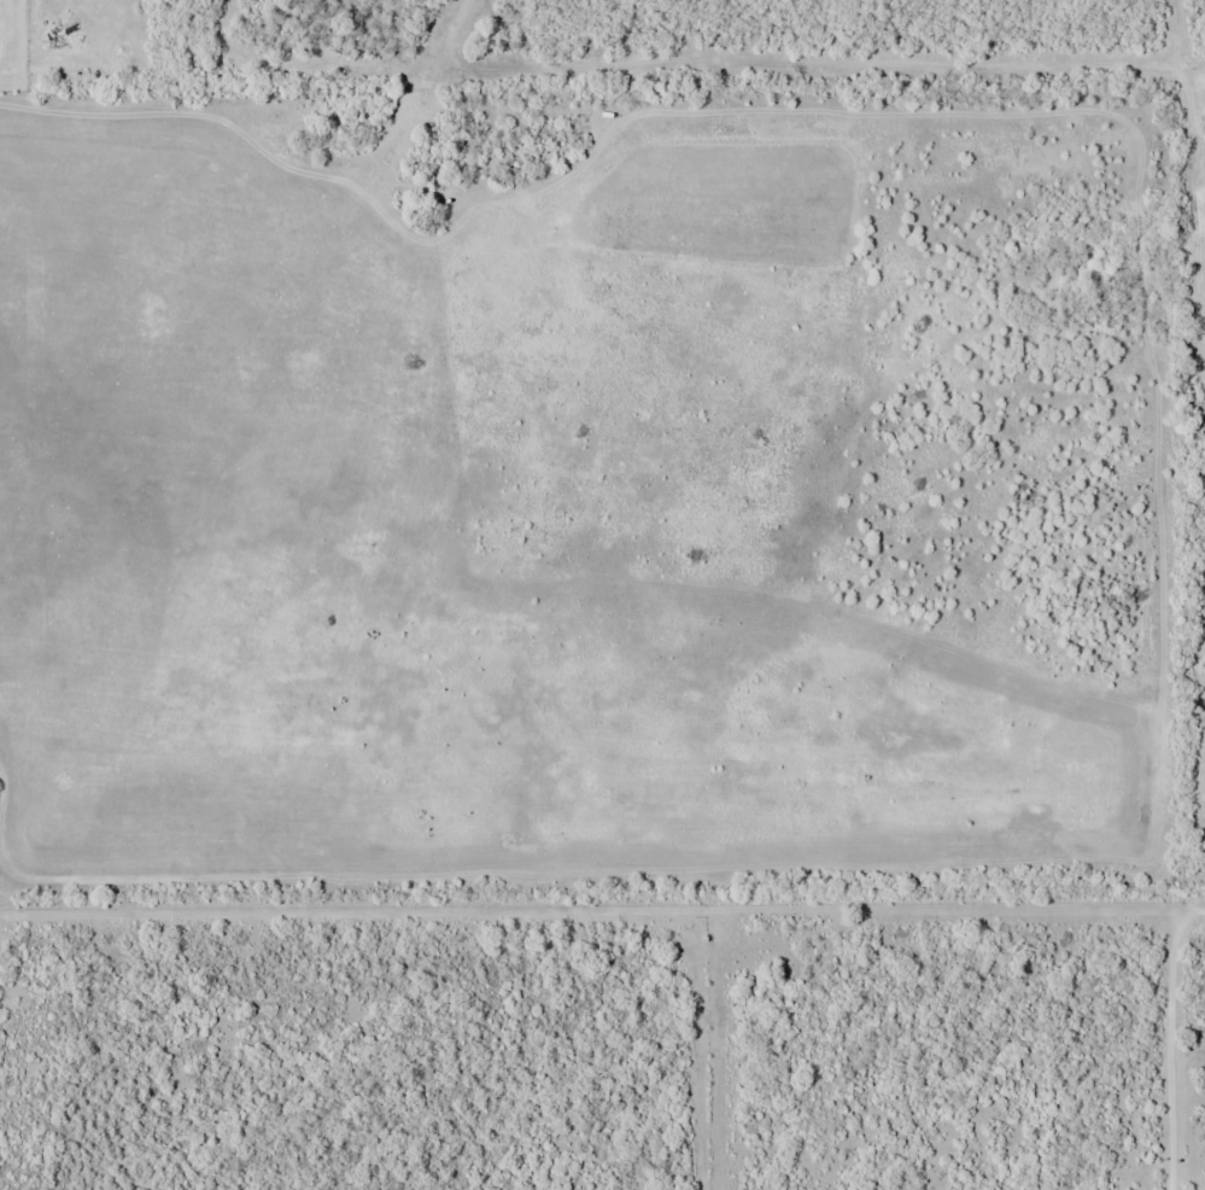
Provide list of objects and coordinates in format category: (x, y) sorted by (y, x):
wastewater plant: (12, 45)

